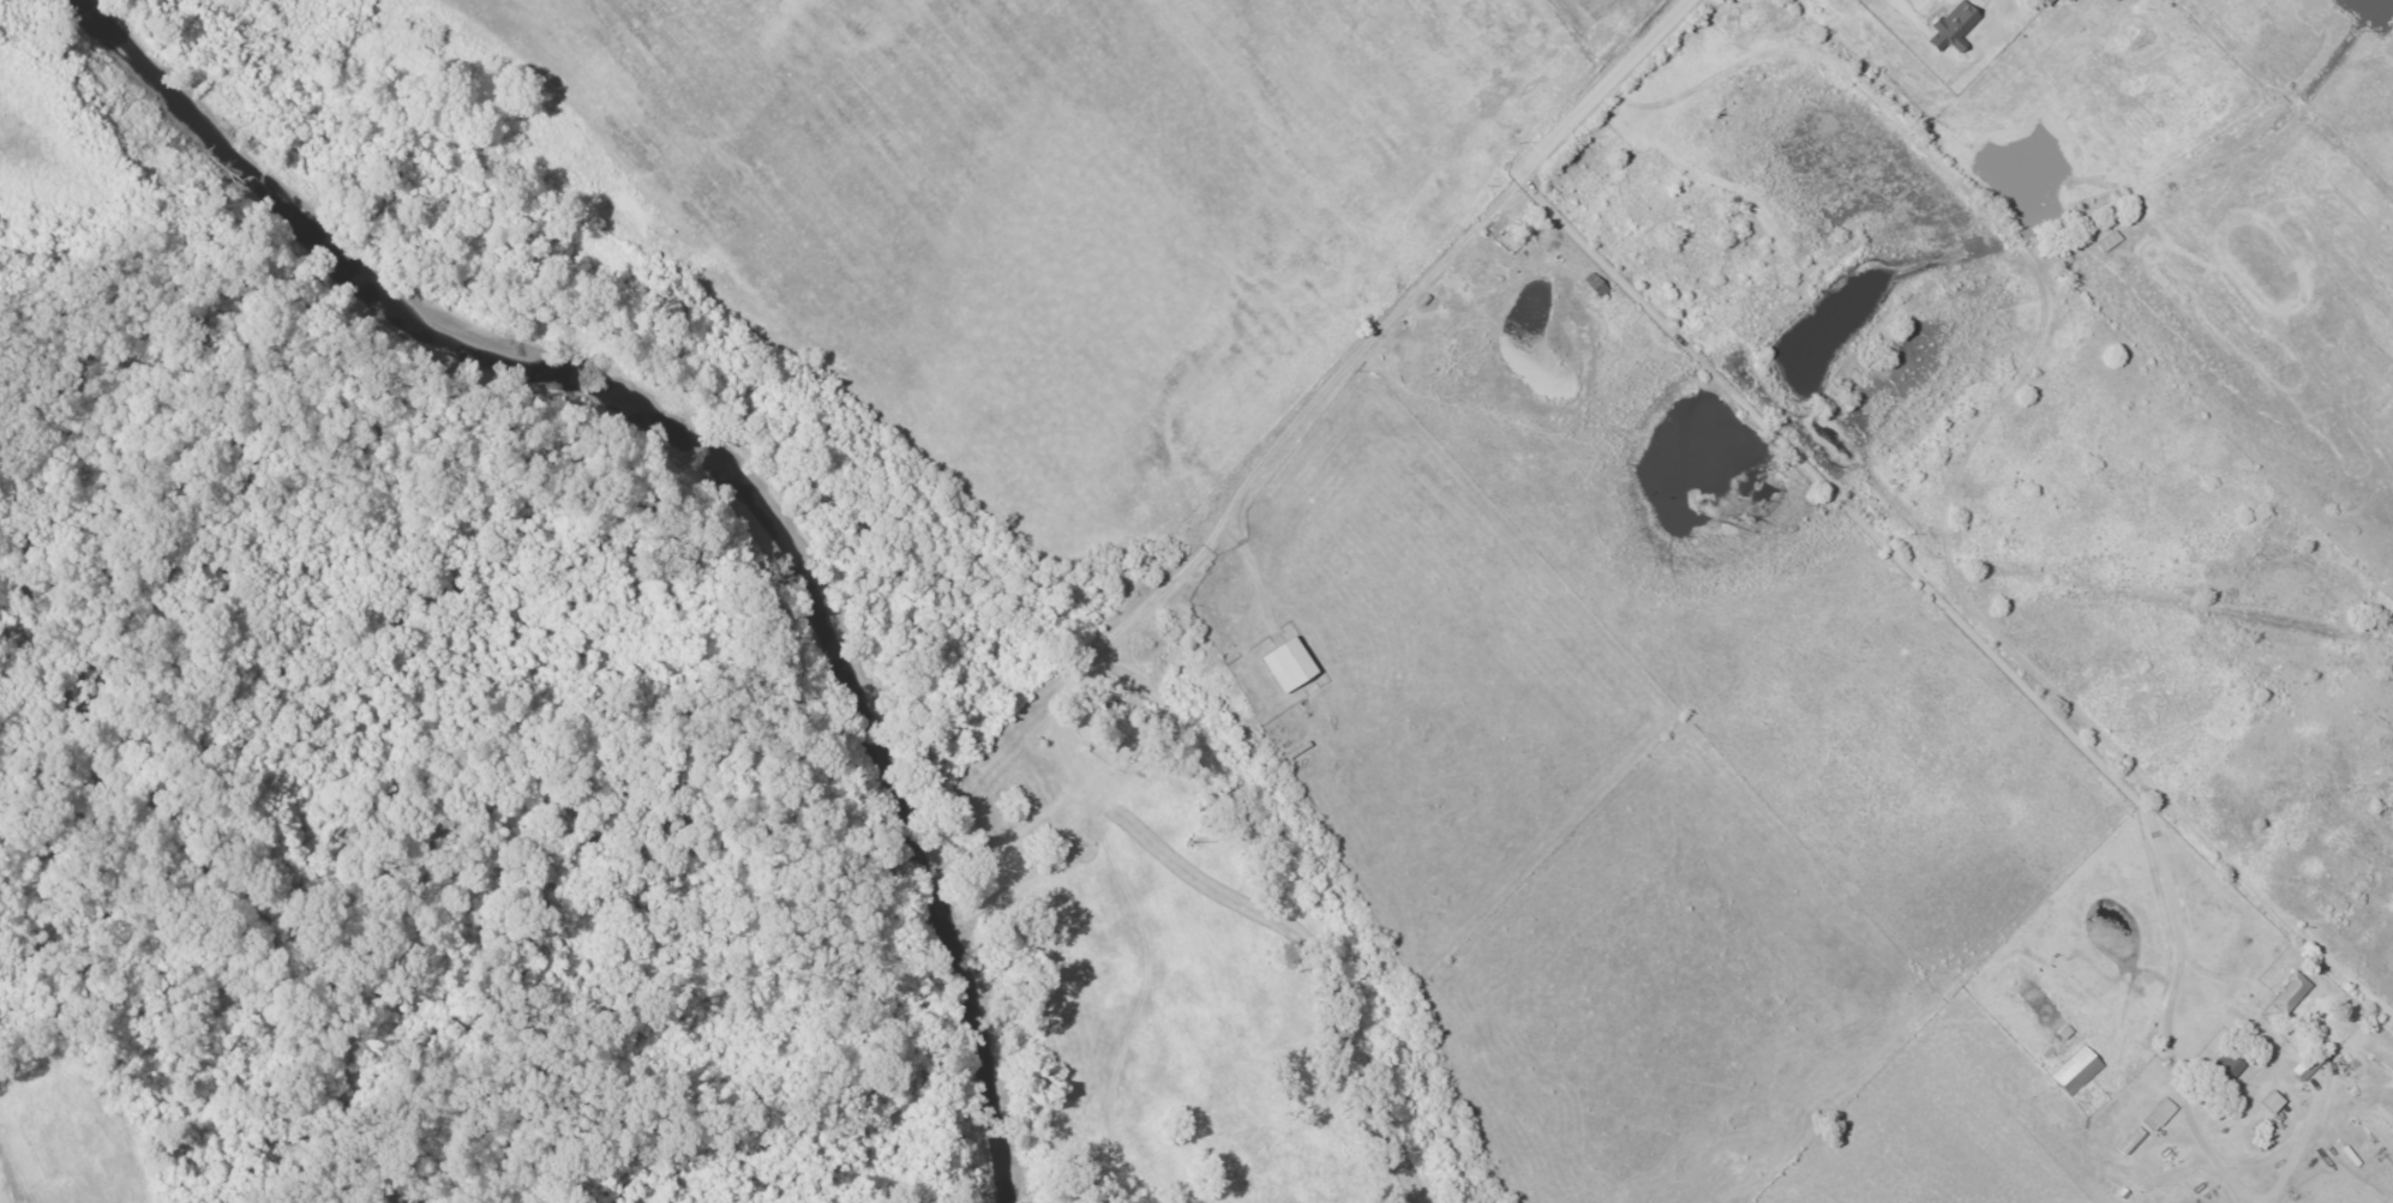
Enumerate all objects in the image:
building: (2071, 0)
building: (2049, 1)
building: (1955, 25)
road: (1607, 82)
road: (1368, 341)
river: (714, 465)
building: (1291, 663)
building: (2292, 992)
building: (2313, 1060)
building: (2079, 1070)
building: (2161, 1113)

